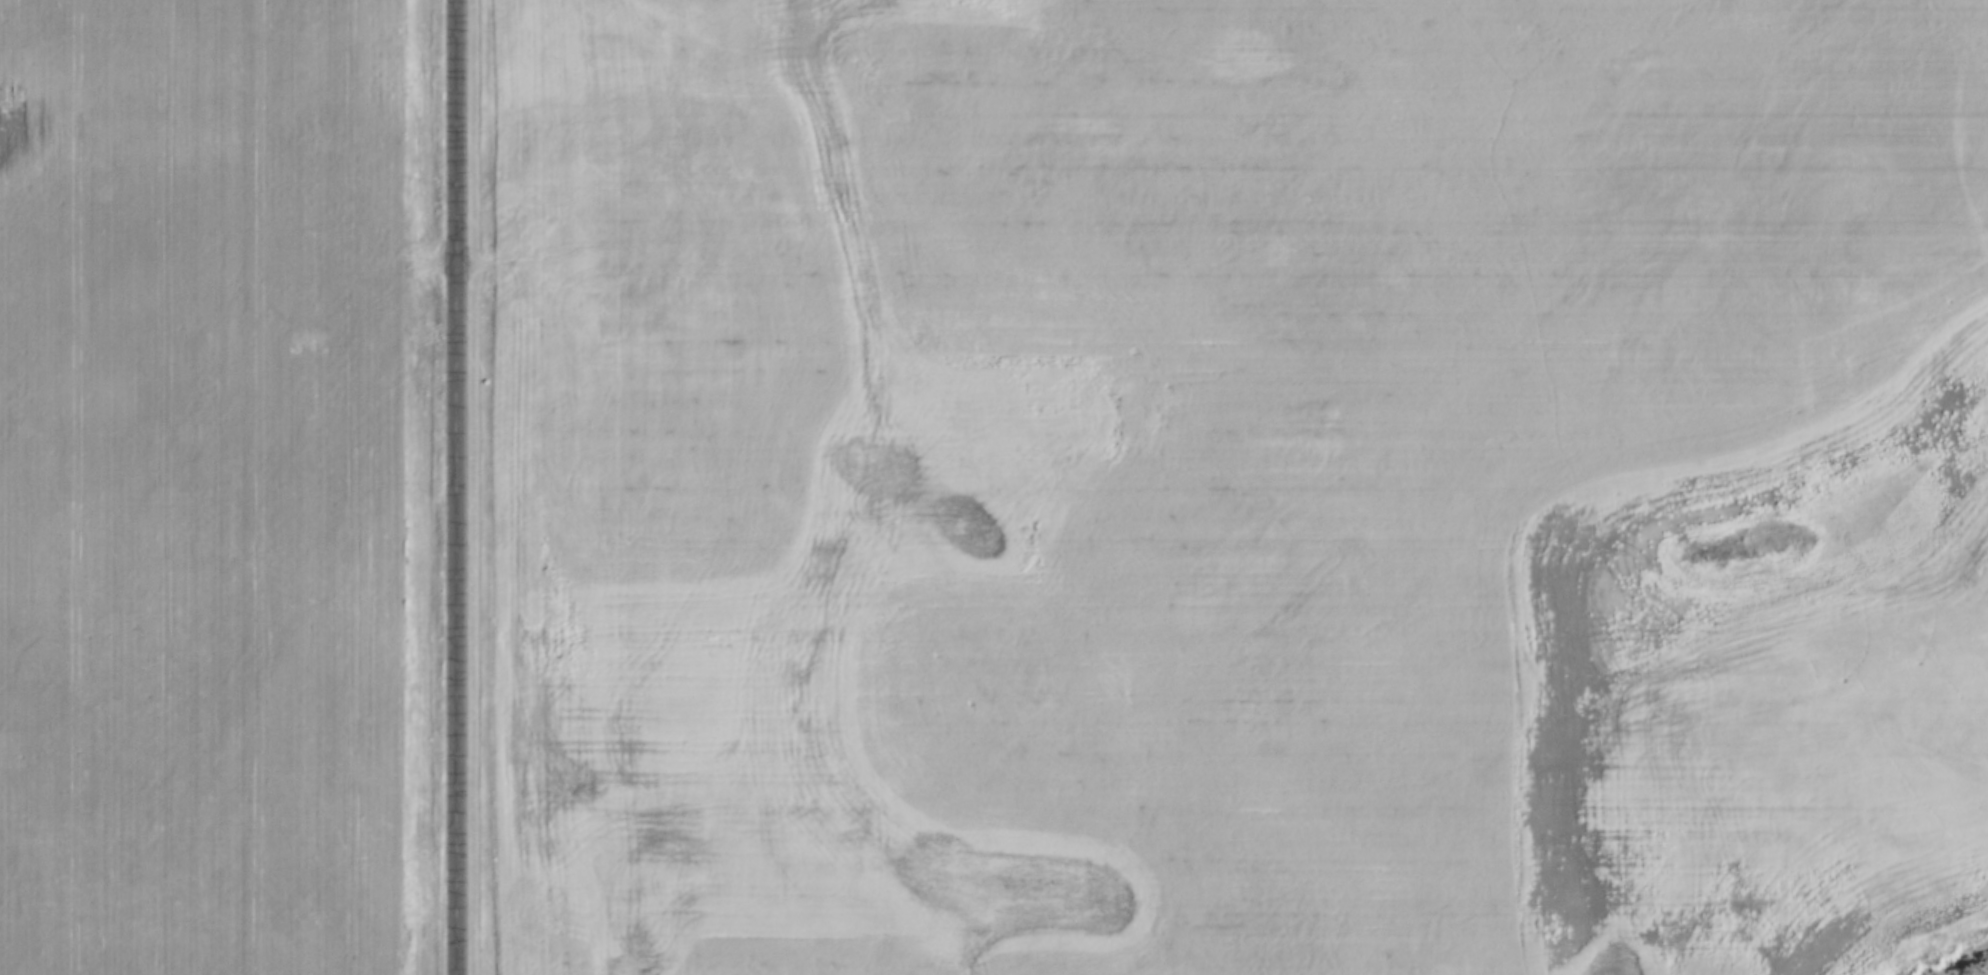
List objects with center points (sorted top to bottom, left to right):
road: (454, 487)

